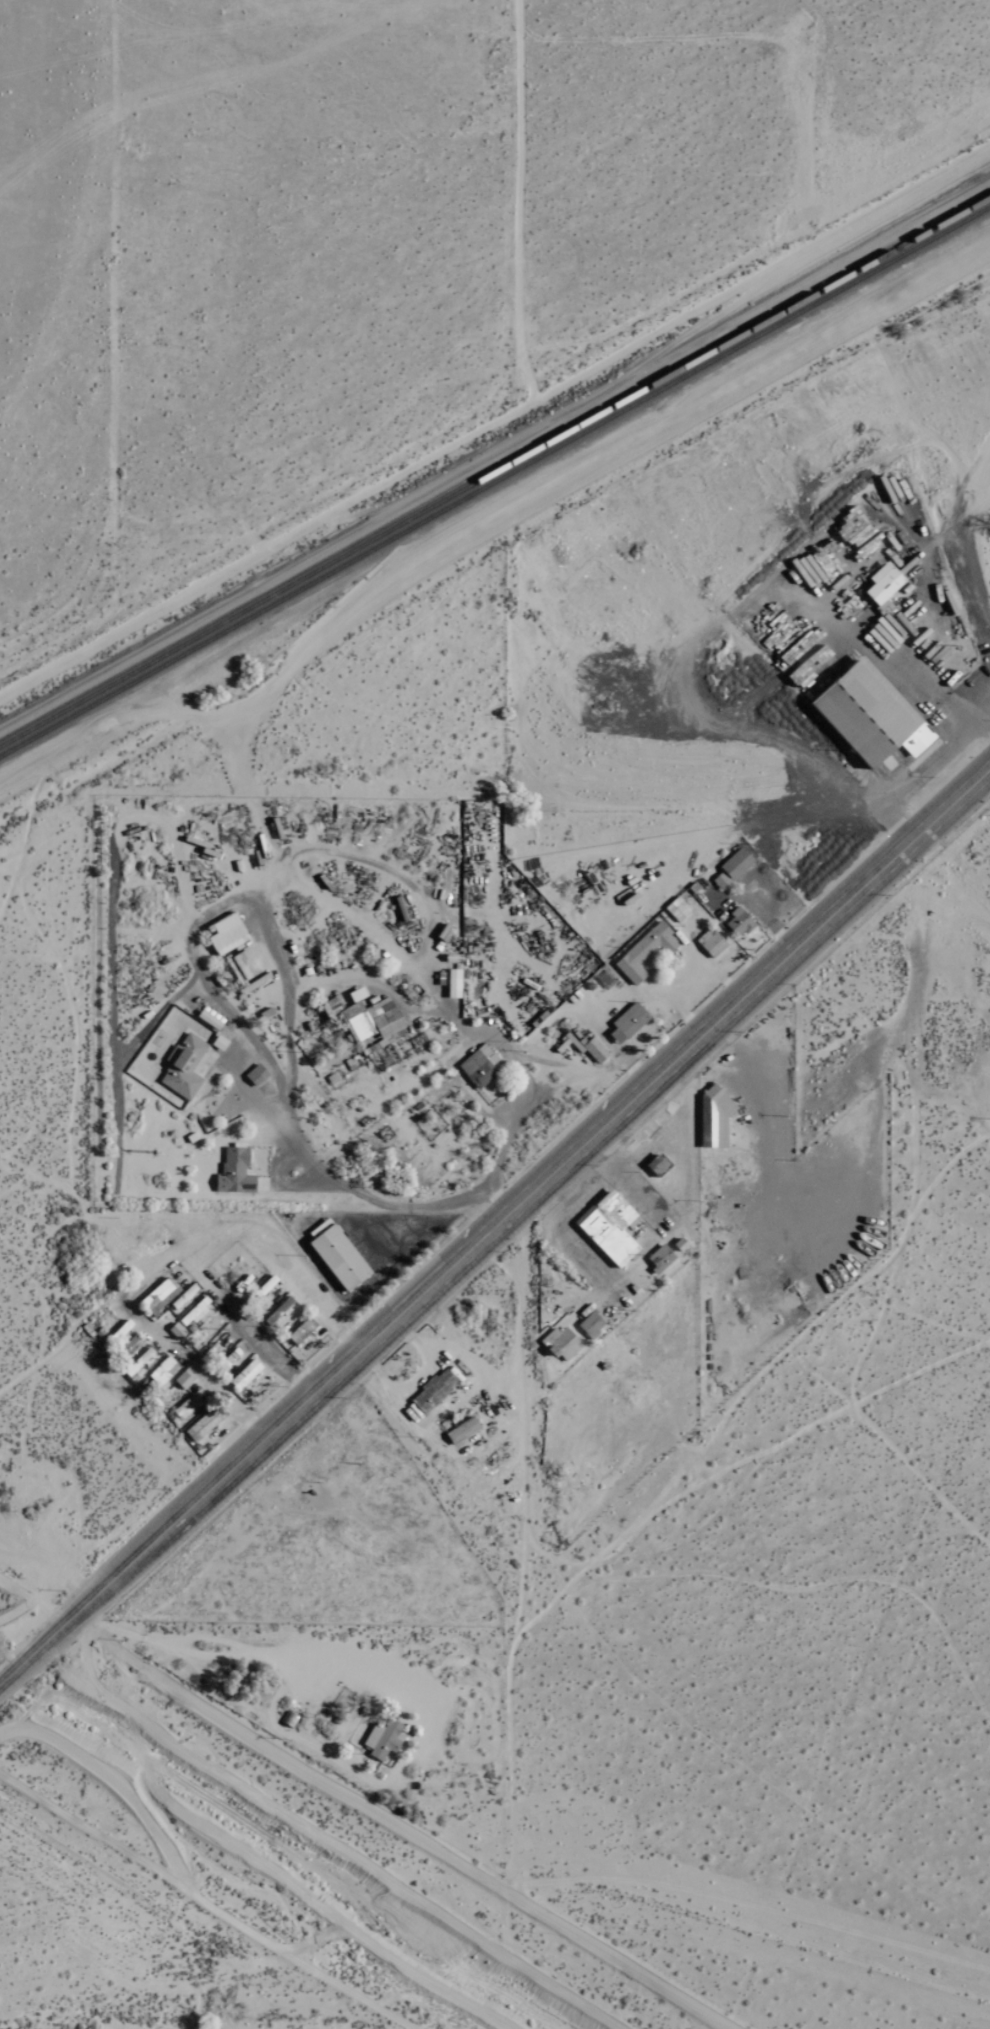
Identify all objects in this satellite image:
railway: (495, 471)
railway: (495, 480)
building: (884, 583)
building: (872, 715)
road: (917, 772)
building: (737, 863)
building: (721, 881)
building: (739, 922)
building: (229, 935)
building: (712, 943)
building: (645, 951)
building: (454, 984)
road: (696, 990)
road: (609, 1003)
building: (332, 1006)
building: (372, 1017)
road: (237, 1023)
building: (629, 1023)
building: (220, 1043)
building: (596, 1050)
building: (184, 1067)
building: (480, 1067)
road: (542, 1093)
road: (627, 1104)
building: (714, 1119)
building: (235, 1173)
building: (610, 1228)
building: (337, 1255)
building: (660, 1258)
road: (165, 1259)
building: (158, 1294)
building: (184, 1296)
building: (195, 1311)
building: (279, 1311)
road: (246, 1321)
building: (591, 1325)
building: (177, 1331)
building: (302, 1331)
building: (562, 1344)
building: (131, 1345)
building: (138, 1362)
building: (163, 1371)
building: (246, 1374)
building: (185, 1378)
building: (434, 1391)
building: (189, 1404)
building: (203, 1425)
building: (462, 1430)
road: (132, 1560)
road: (243, 1654)
building: (383, 1738)

